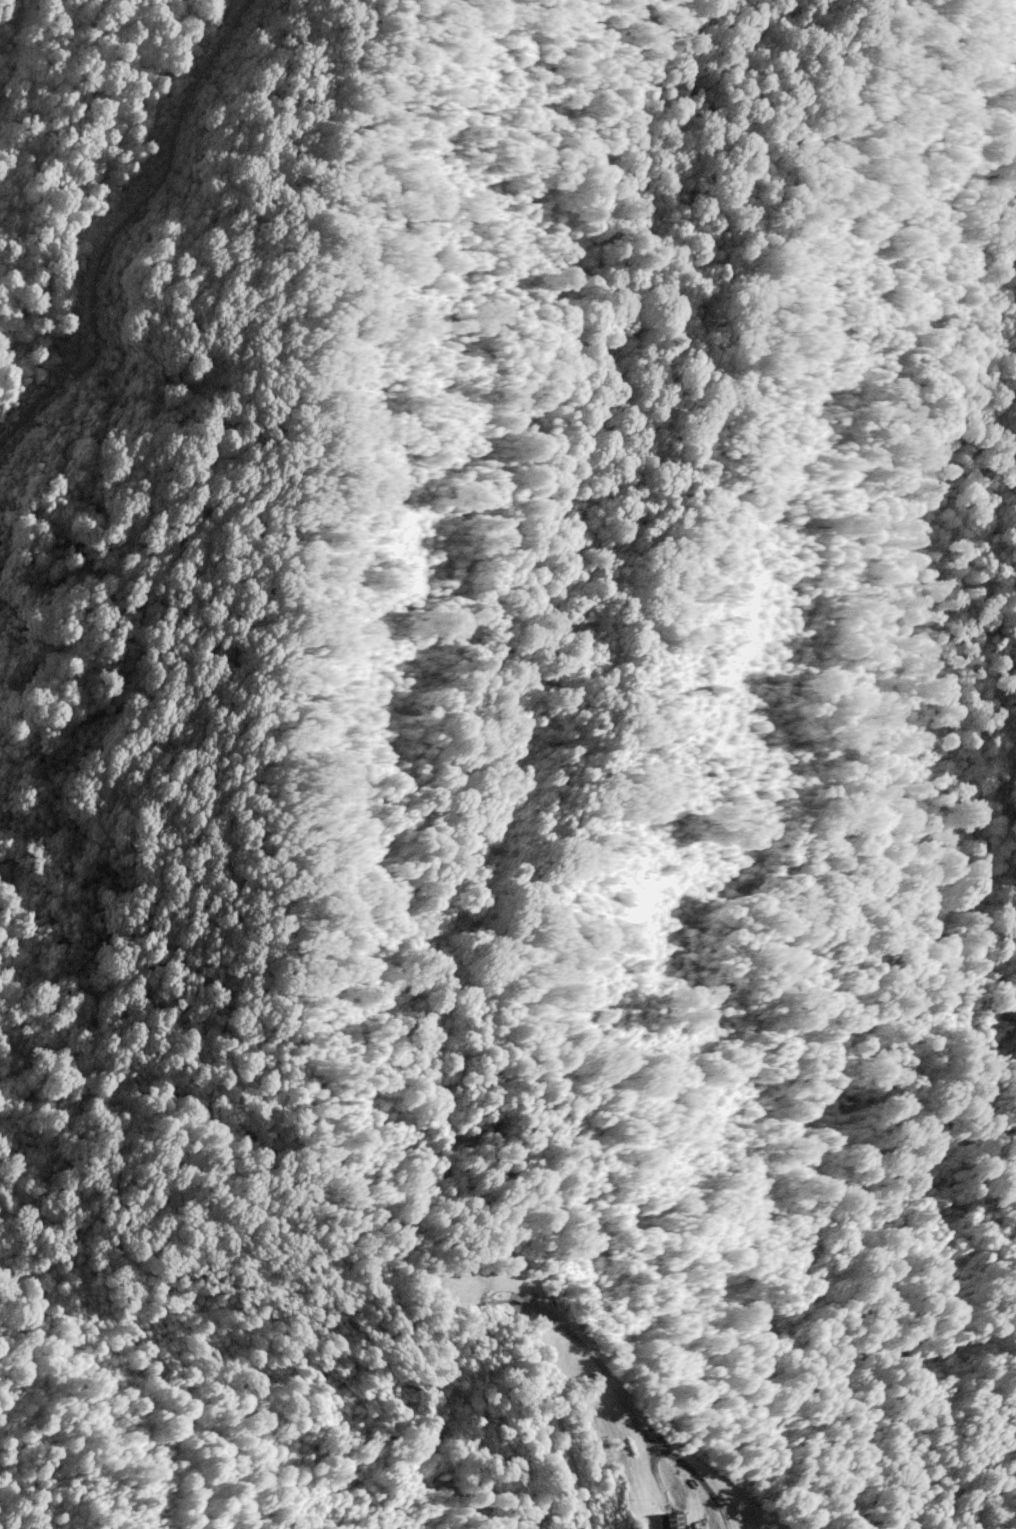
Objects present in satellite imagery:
road: (627, 1413)
building: (670, 1521)

